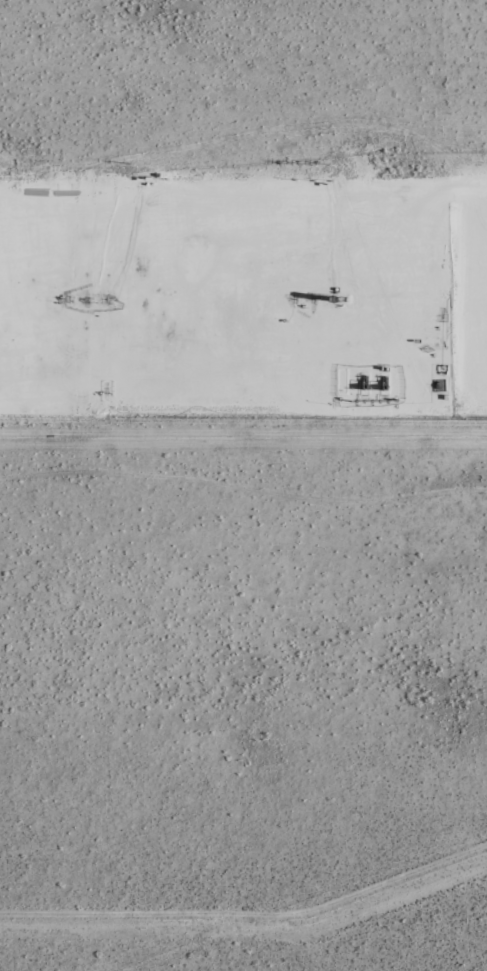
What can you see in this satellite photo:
road: (60, 280)
petroleum well: (295, 298)
petroleum well: (314, 298)
petroleum well: (65, 299)
petroleum well: (85, 299)
petroleum well: (106, 300)
road: (285, 303)
road: (243, 412)

